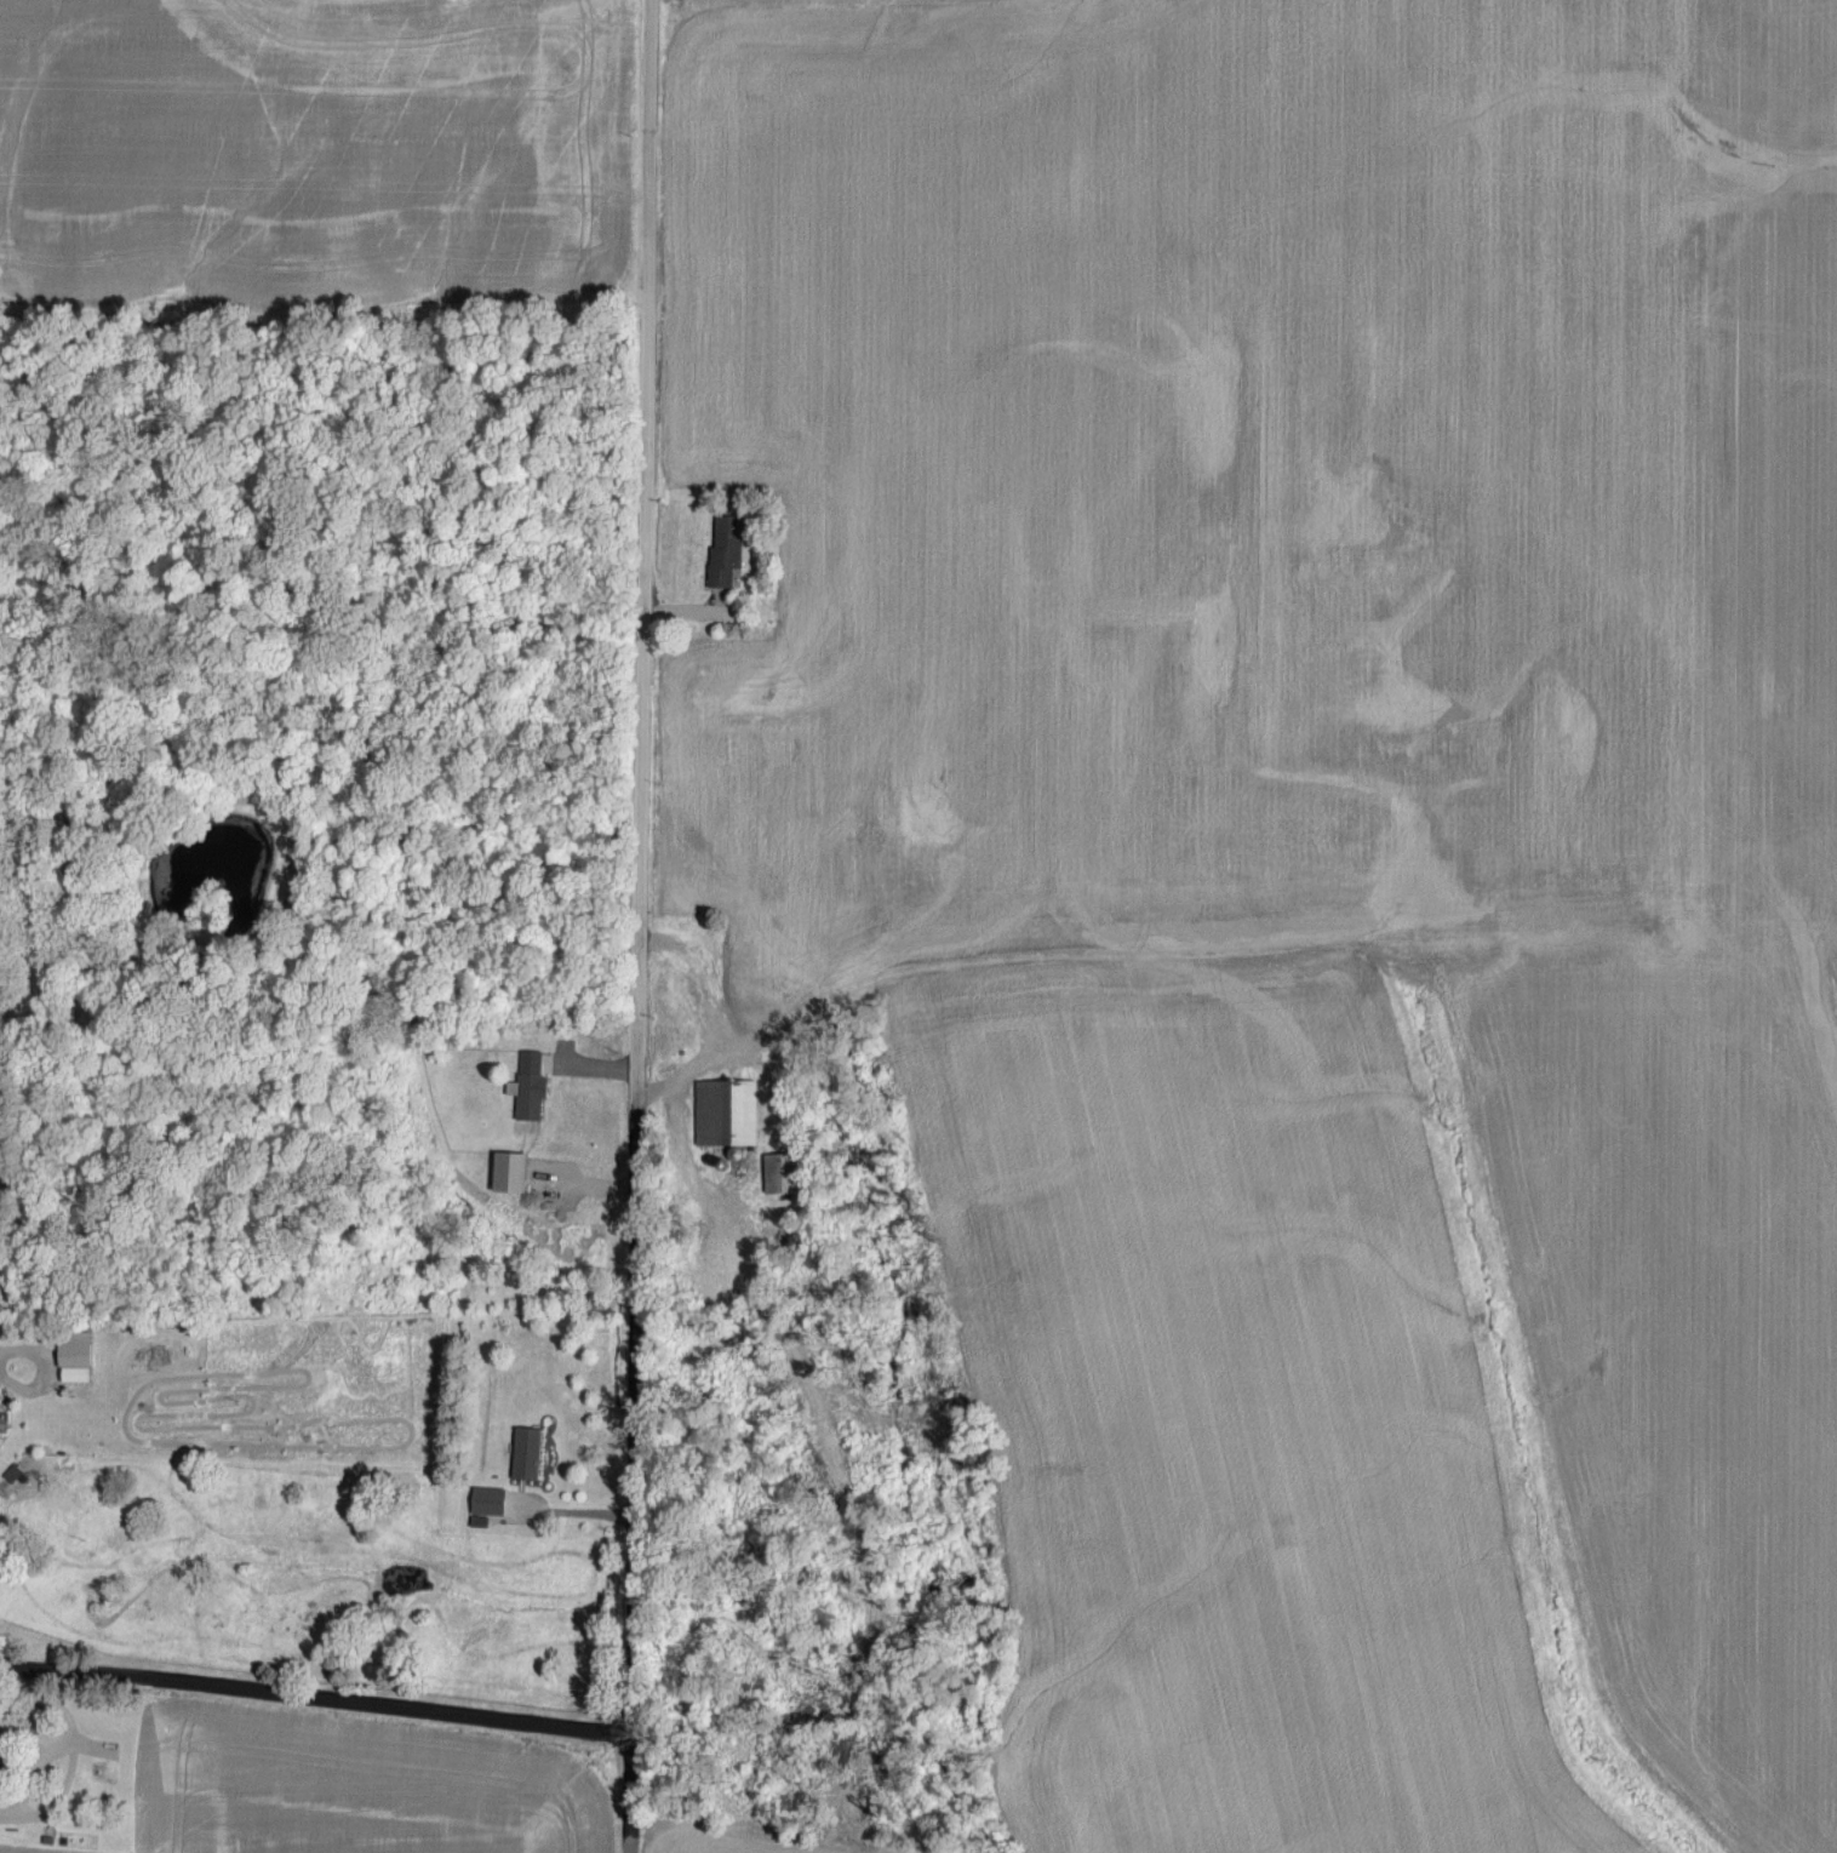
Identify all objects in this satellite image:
building: (725, 550)
road: (628, 879)
building: (548, 1042)
road: (580, 1060)
road: (675, 1070)
building: (528, 1099)
building: (726, 1115)
building: (467, 1171)
building: (772, 1176)
building: (73, 1357)
building: (525, 1455)
building: (485, 1504)
road: (556, 1506)
road: (308, 1697)
road: (62, 1734)
road: (623, 1797)

